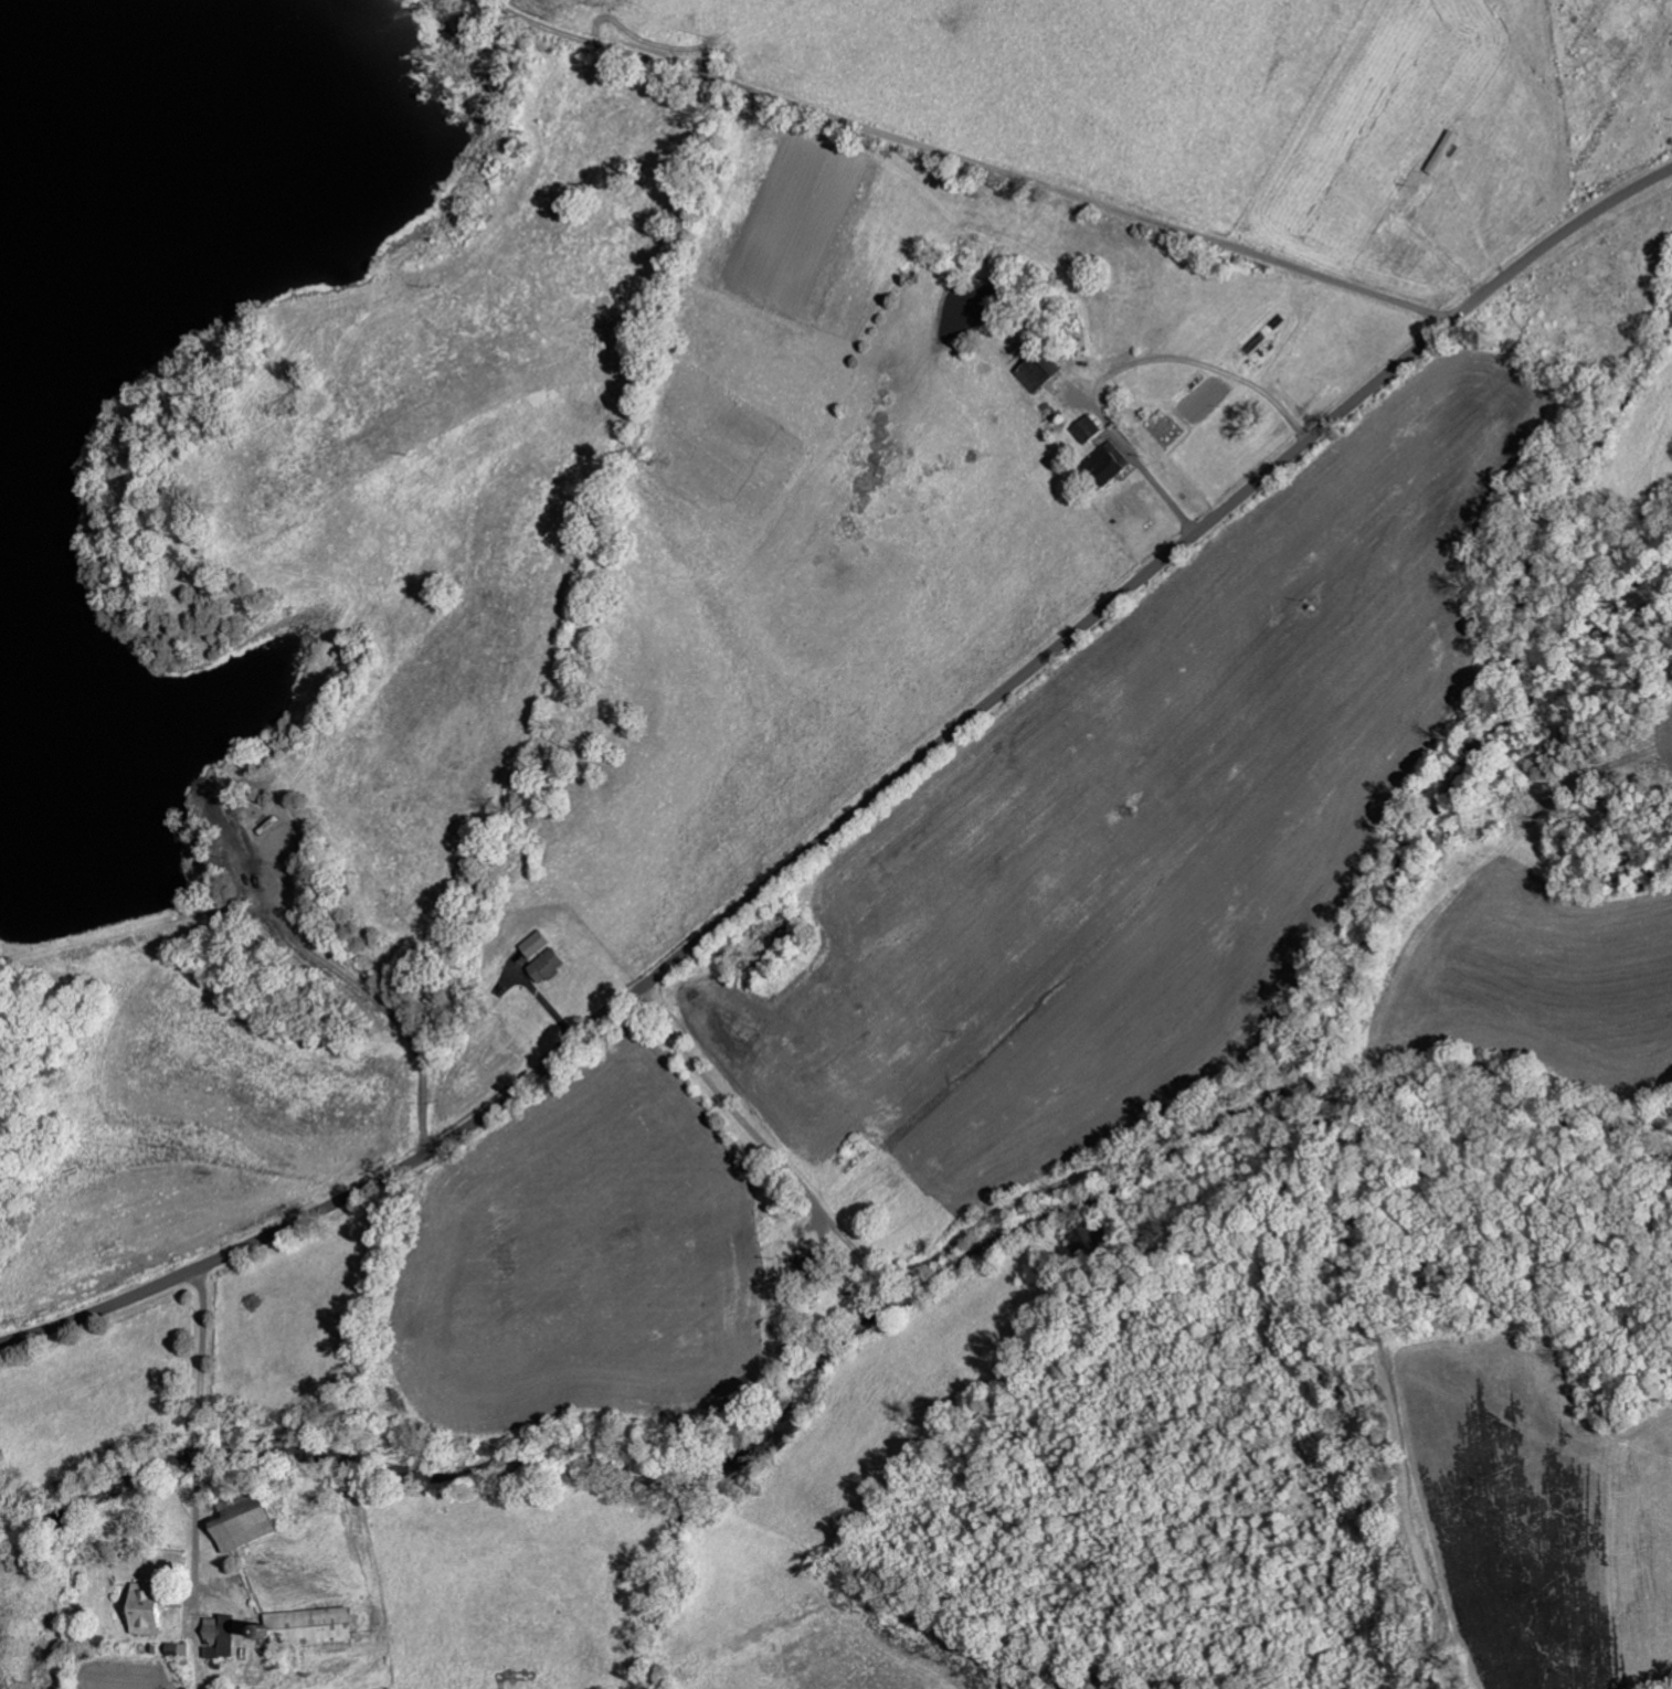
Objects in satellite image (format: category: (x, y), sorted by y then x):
building: (1030, 370)
road: (865, 804)
building: (535, 942)
building: (548, 964)
road: (1096, 1165)
building: (815, 1262)
road: (226, 1469)
building: (251, 1522)
building: (151, 1607)
building: (313, 1624)
building: (221, 1635)
building: (178, 1647)

